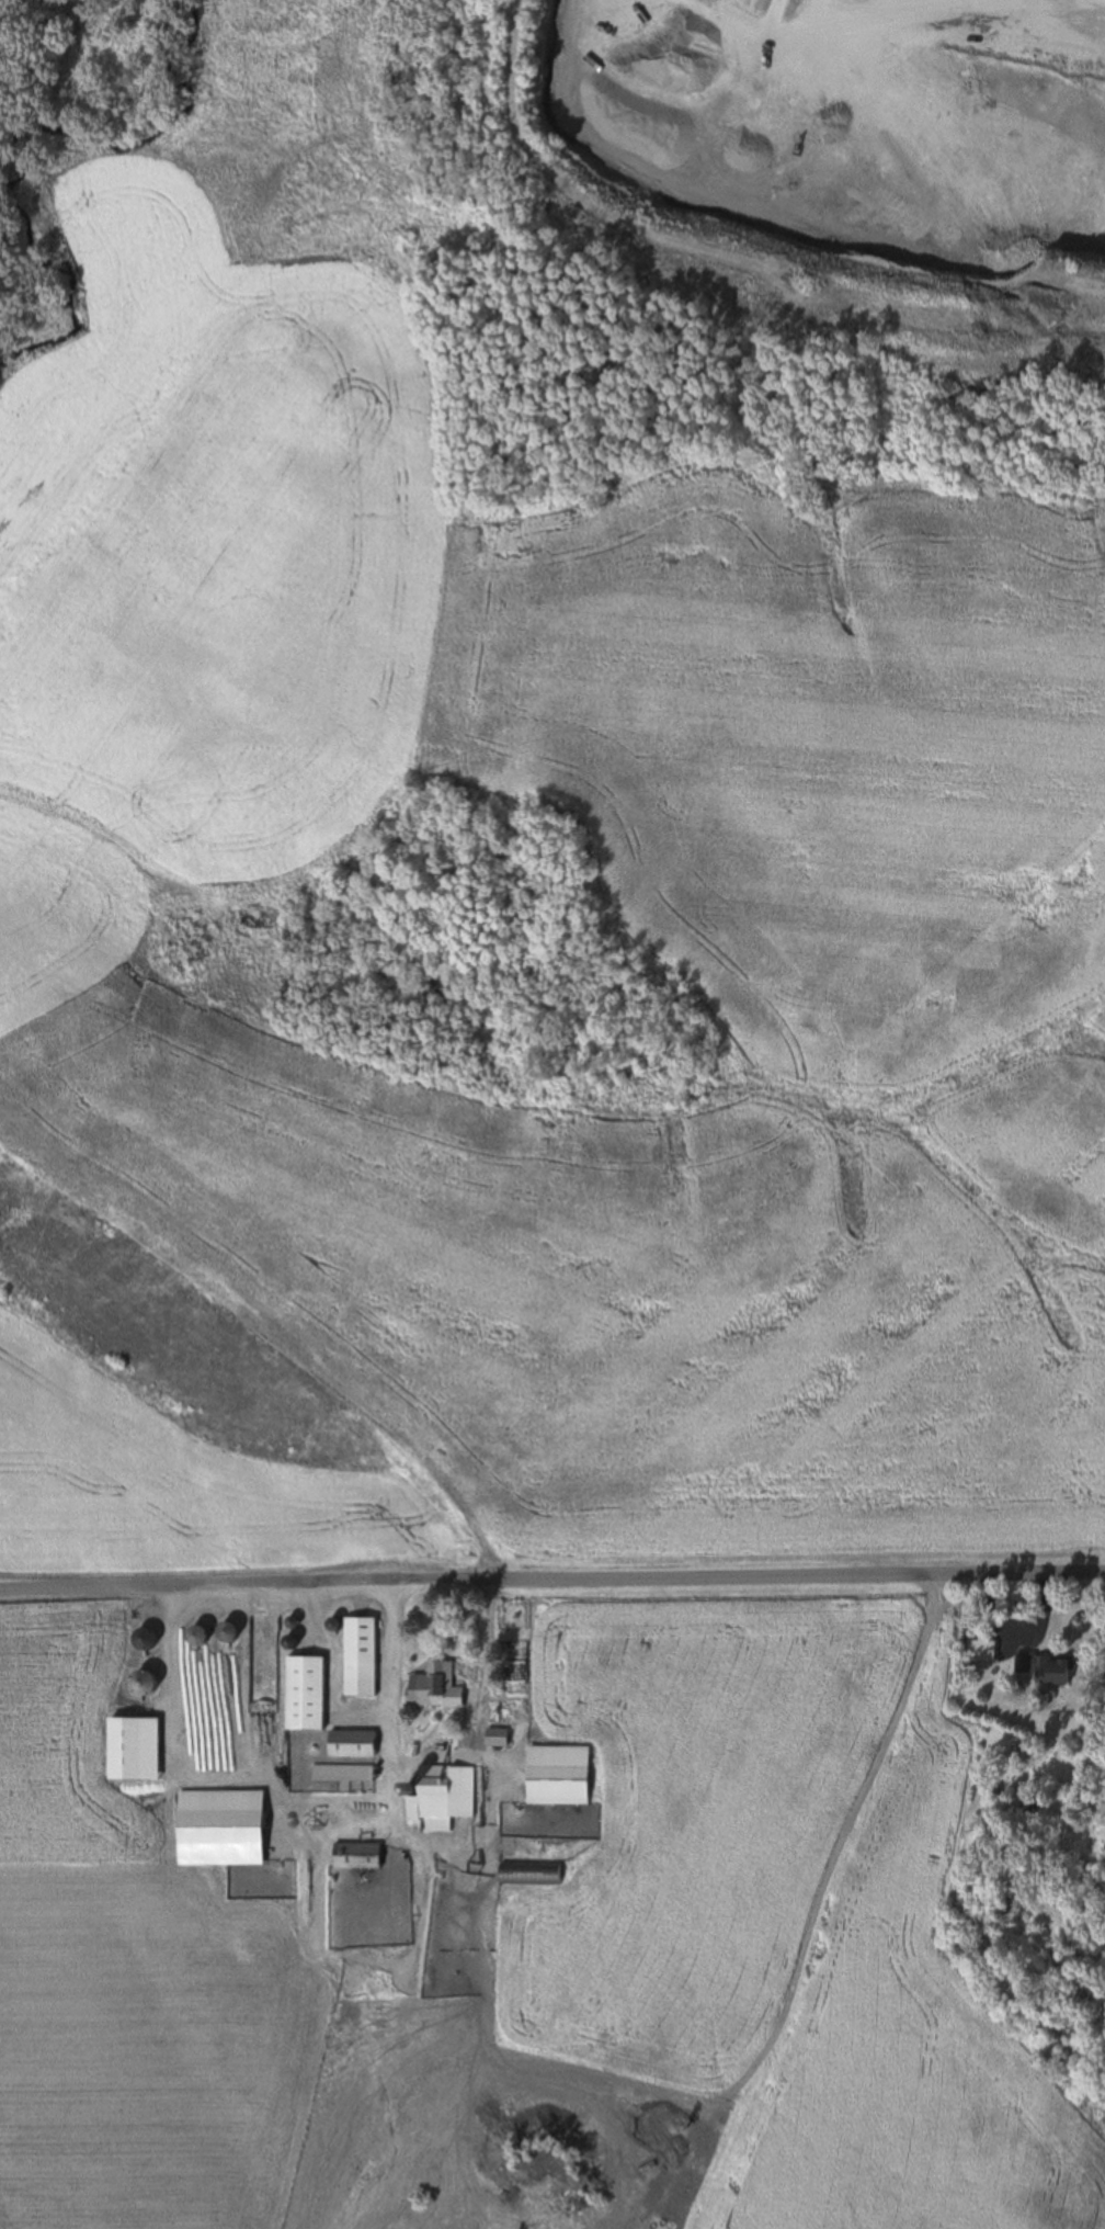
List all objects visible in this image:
road: (551, 1582)
building: (982, 1652)
building: (362, 1657)
building: (1047, 1667)
building: (435, 1693)
building: (307, 1694)
building: (498, 1739)
building: (353, 1745)
building: (343, 1774)
building: (559, 1787)
building: (444, 1795)
building: (223, 1828)
building: (358, 1857)
building: (531, 1875)
road: (816, 1888)
mineshaft: (521, 2136)

